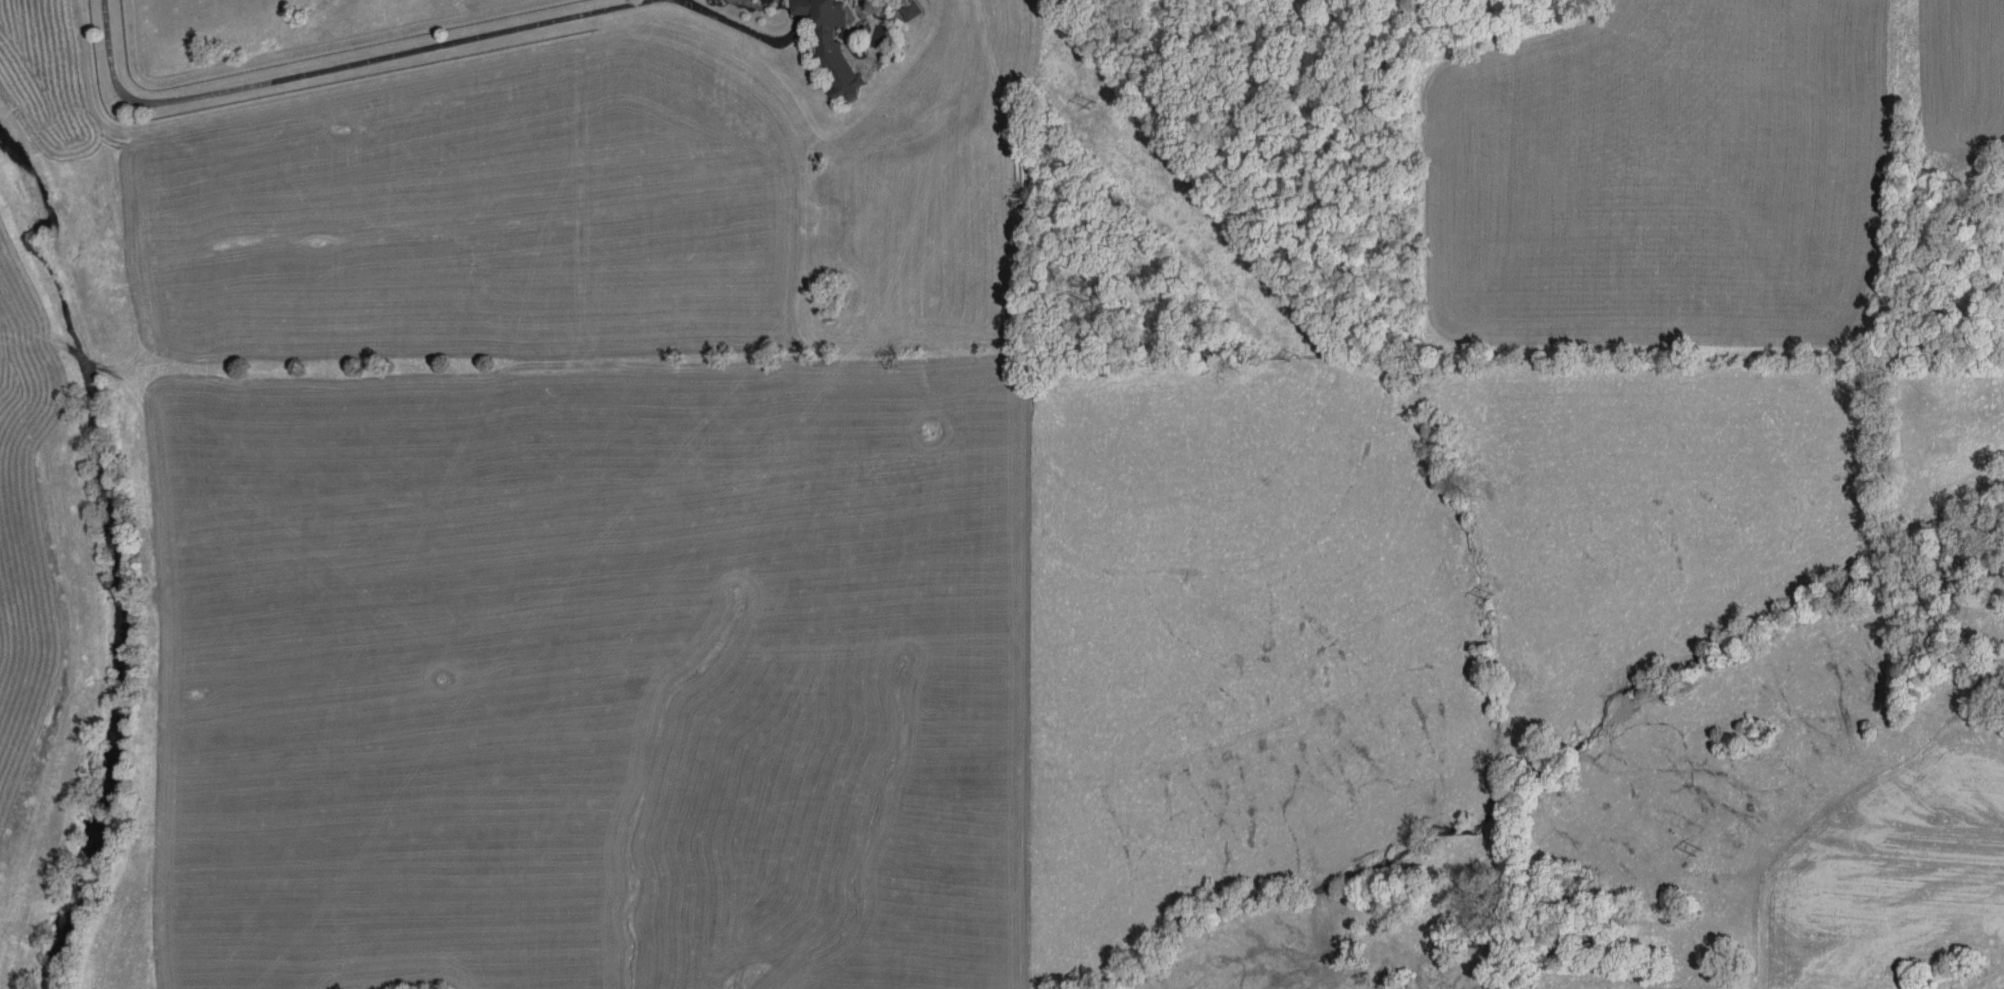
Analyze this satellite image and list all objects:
building: (906, 10)
building: (830, 44)
road: (335, 67)
power tower: (1088, 99)
power tower: (1487, 593)
power tower: (1695, 855)

